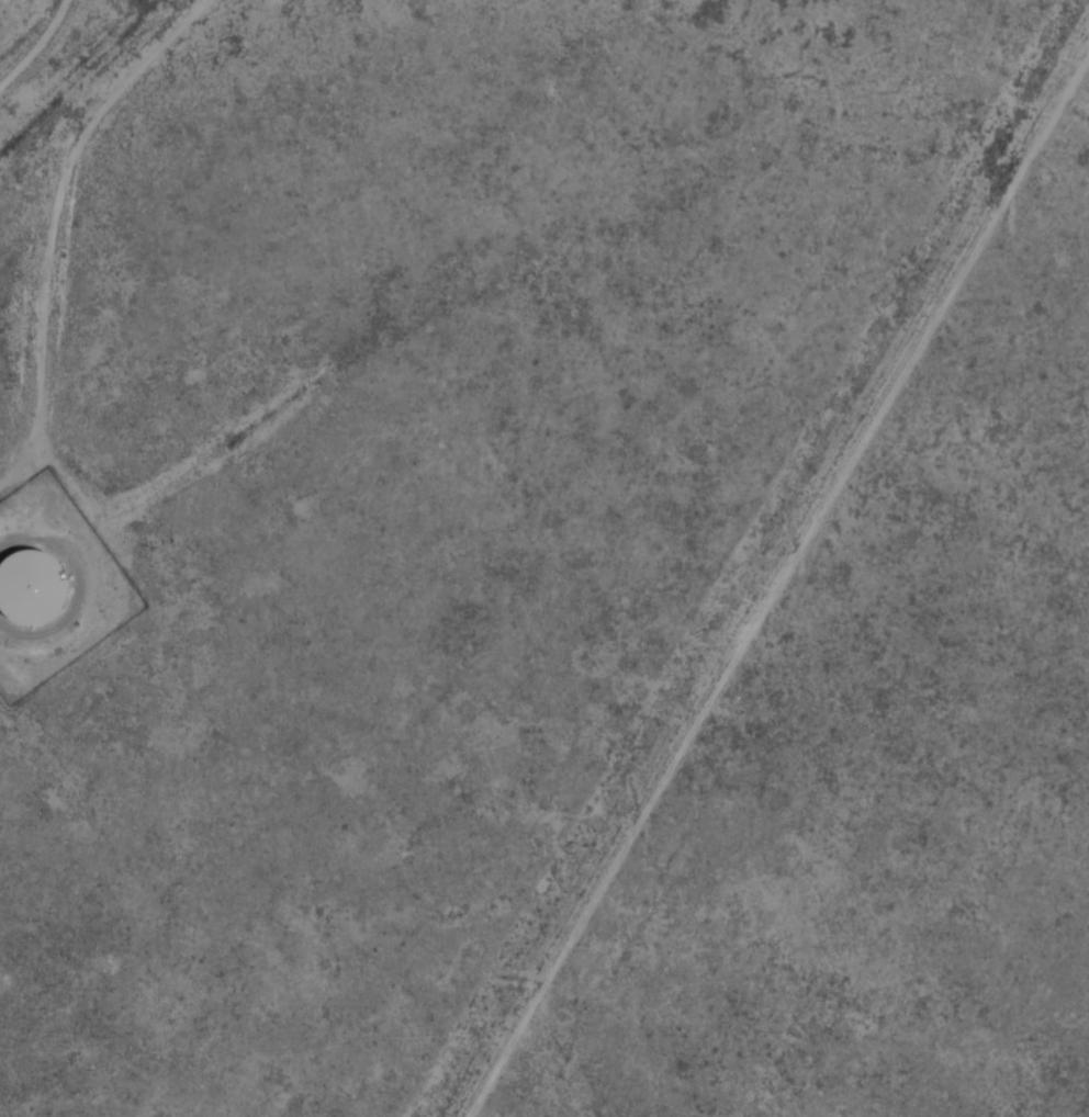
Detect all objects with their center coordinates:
building: (40, 574)
storage tank: (40, 574)

